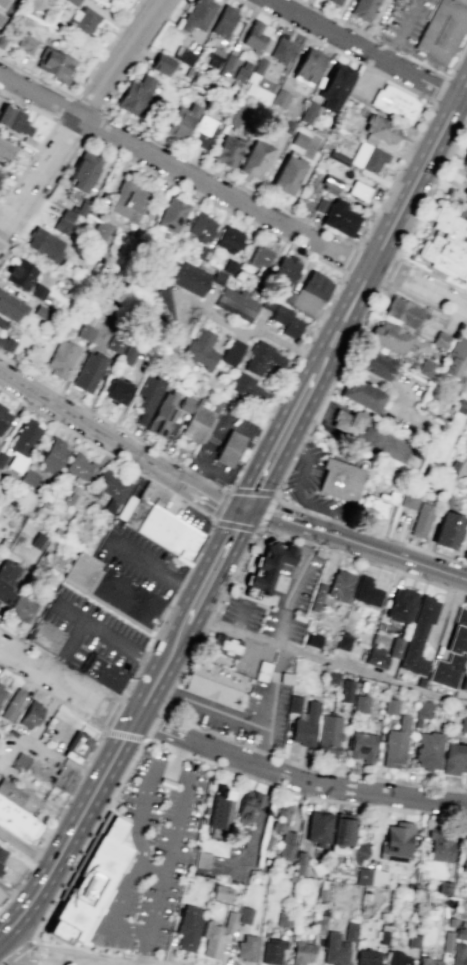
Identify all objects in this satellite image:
building: (72, 2)
building: (332, 2)
building: (2, 3)
building: (364, 9)
building: (196, 15)
building: (0, 16)
building: (84, 19)
road: (337, 20)
building: (224, 21)
parking lot: (405, 23)
road: (401, 31)
building: (442, 31)
building: (255, 36)
building: (26, 43)
road: (387, 46)
building: (282, 51)
road: (337, 51)
road: (367, 53)
road: (137, 55)
building: (183, 55)
building: (55, 64)
building: (162, 64)
building: (308, 65)
building: (235, 68)
road: (441, 75)
road: (81, 82)
building: (334, 86)
road: (440, 91)
building: (134, 95)
building: (279, 98)
building: (394, 103)
road: (100, 111)
building: (307, 112)
building: (234, 114)
road: (79, 117)
building: (14, 120)
building: (180, 122)
building: (286, 127)
building: (378, 130)
building: (203, 132)
road: (45, 136)
building: (298, 140)
building: (5, 151)
building: (226, 151)
building: (367, 157)
building: (254, 159)
building: (464, 160)
building: (83, 171)
building: (0, 172)
building: (287, 175)
road: (395, 176)
building: (466, 176)
road: (229, 179)
building: (329, 184)
building: (358, 190)
building: (465, 190)
road: (231, 198)
building: (128, 200)
building: (466, 201)
building: (314, 202)
building: (171, 214)
road: (396, 215)
building: (339, 217)
building: (64, 221)
road: (412, 222)
building: (201, 227)
building: (99, 230)
building: (229, 239)
building: (445, 240)
building: (44, 244)
building: (203, 253)
building: (259, 258)
road: (351, 260)
building: (229, 266)
building: (285, 270)
road: (390, 270)
building: (20, 274)
building: (190, 278)
building: (218, 278)
road: (387, 283)
building: (315, 285)
building: (38, 291)
building: (268, 302)
road: (328, 302)
building: (165, 304)
building: (235, 304)
building: (11, 307)
building: (404, 311)
building: (286, 321)
building: (2, 324)
building: (89, 326)
road: (249, 331)
building: (390, 337)
building: (440, 340)
building: (6, 344)
building: (200, 349)
building: (232, 350)
building: (128, 355)
building: (60, 358)
building: (455, 358)
building: (263, 359)
road: (339, 364)
building: (375, 364)
building: (426, 367)
building: (89, 371)
road: (366, 377)
building: (248, 388)
building: (116, 391)
building: (361, 394)
building: (147, 398)
building: (462, 405)
building: (164, 416)
building: (3, 417)
building: (347, 422)
building: (196, 424)
road: (94, 426)
road: (220, 426)
road: (286, 430)
road: (84, 440)
building: (22, 443)
parking lot: (219, 446)
building: (228, 449)
road: (294, 449)
building: (53, 456)
building: (2, 458)
road: (289, 462)
building: (79, 466)
road: (214, 470)
building: (28, 477)
building: (340, 480)
parking lot: (308, 482)
building: (109, 490)
road: (252, 491)
building: (73, 496)
road: (178, 497)
road: (301, 497)
building: (408, 500)
road: (214, 501)
road: (178, 503)
road: (219, 504)
building: (375, 505)
traffic signals: (245, 509)
road: (266, 511)
road: (289, 520)
building: (421, 520)
building: (161, 523)
road: (336, 523)
road: (234, 525)
building: (447, 529)
road: (402, 541)
road: (400, 556)
parking lot: (143, 563)
building: (268, 566)
road: (157, 569)
building: (6, 578)
road: (204, 580)
building: (340, 584)
road: (294, 585)
building: (111, 591)
building: (367, 592)
road: (288, 593)
building: (317, 595)
parking lot: (283, 601)
building: (400, 605)
building: (21, 609)
road: (241, 618)
road: (157, 628)
parking lot: (91, 633)
building: (44, 636)
road: (112, 636)
building: (419, 636)
building: (313, 639)
building: (381, 640)
building: (343, 642)
road: (29, 645)
road: (253, 645)
building: (395, 646)
road: (68, 648)
building: (229, 648)
building: (452, 654)
building: (376, 657)
road: (326, 659)
road: (182, 665)
building: (262, 670)
building: (103, 672)
building: (330, 677)
building: (284, 678)
building: (420, 682)
building: (463, 682)
building: (213, 683)
road: (65, 685)
building: (2, 690)
building: (345, 691)
road: (268, 697)
road: (272, 698)
building: (360, 703)
building: (12, 704)
building: (294, 704)
building: (390, 706)
road: (208, 707)
parking lot: (246, 707)
building: (422, 708)
building: (31, 714)
building: (462, 725)
building: (305, 726)
road: (157, 729)
road: (121, 734)
building: (328, 734)
road: (101, 736)
building: (396, 744)
building: (77, 746)
building: (362, 747)
building: (428, 750)
building: (454, 759)
road: (256, 764)
building: (48, 773)
road: (120, 780)
road: (321, 785)
building: (18, 796)
road: (89, 798)
building: (248, 805)
road: (384, 808)
building: (219, 813)
building: (17, 822)
road: (256, 825)
building: (318, 828)
building: (283, 832)
building: (342, 832)
building: (397, 839)
building: (440, 844)
road: (25, 850)
parking lot: (153, 850)
building: (464, 852)
building: (2, 854)
road: (35, 855)
building: (202, 860)
building: (299, 863)
road: (153, 870)
building: (366, 877)
building: (90, 884)
road: (17, 885)
building: (443, 888)
building: (221, 893)
building: (321, 893)
building: (245, 915)
building: (283, 919)
building: (450, 921)
building: (229, 922)
road: (110, 925)
building: (318, 926)
building: (188, 927)
building: (349, 930)
building: (460, 933)
building: (382, 937)
building: (412, 940)
building: (211, 941)
building: (446, 941)
road: (67, 945)
road: (146, 946)
building: (246, 948)
building: (335, 949)
building: (272, 950)
road: (16, 951)
building: (302, 952)
building: (457, 954)
road: (27, 955)
road: (128, 957)
building: (366, 957)
building: (398, 959)
road: (22, 960)
building: (428, 961)
road: (54, 962)
road: (102, 962)
road: (10, 963)

